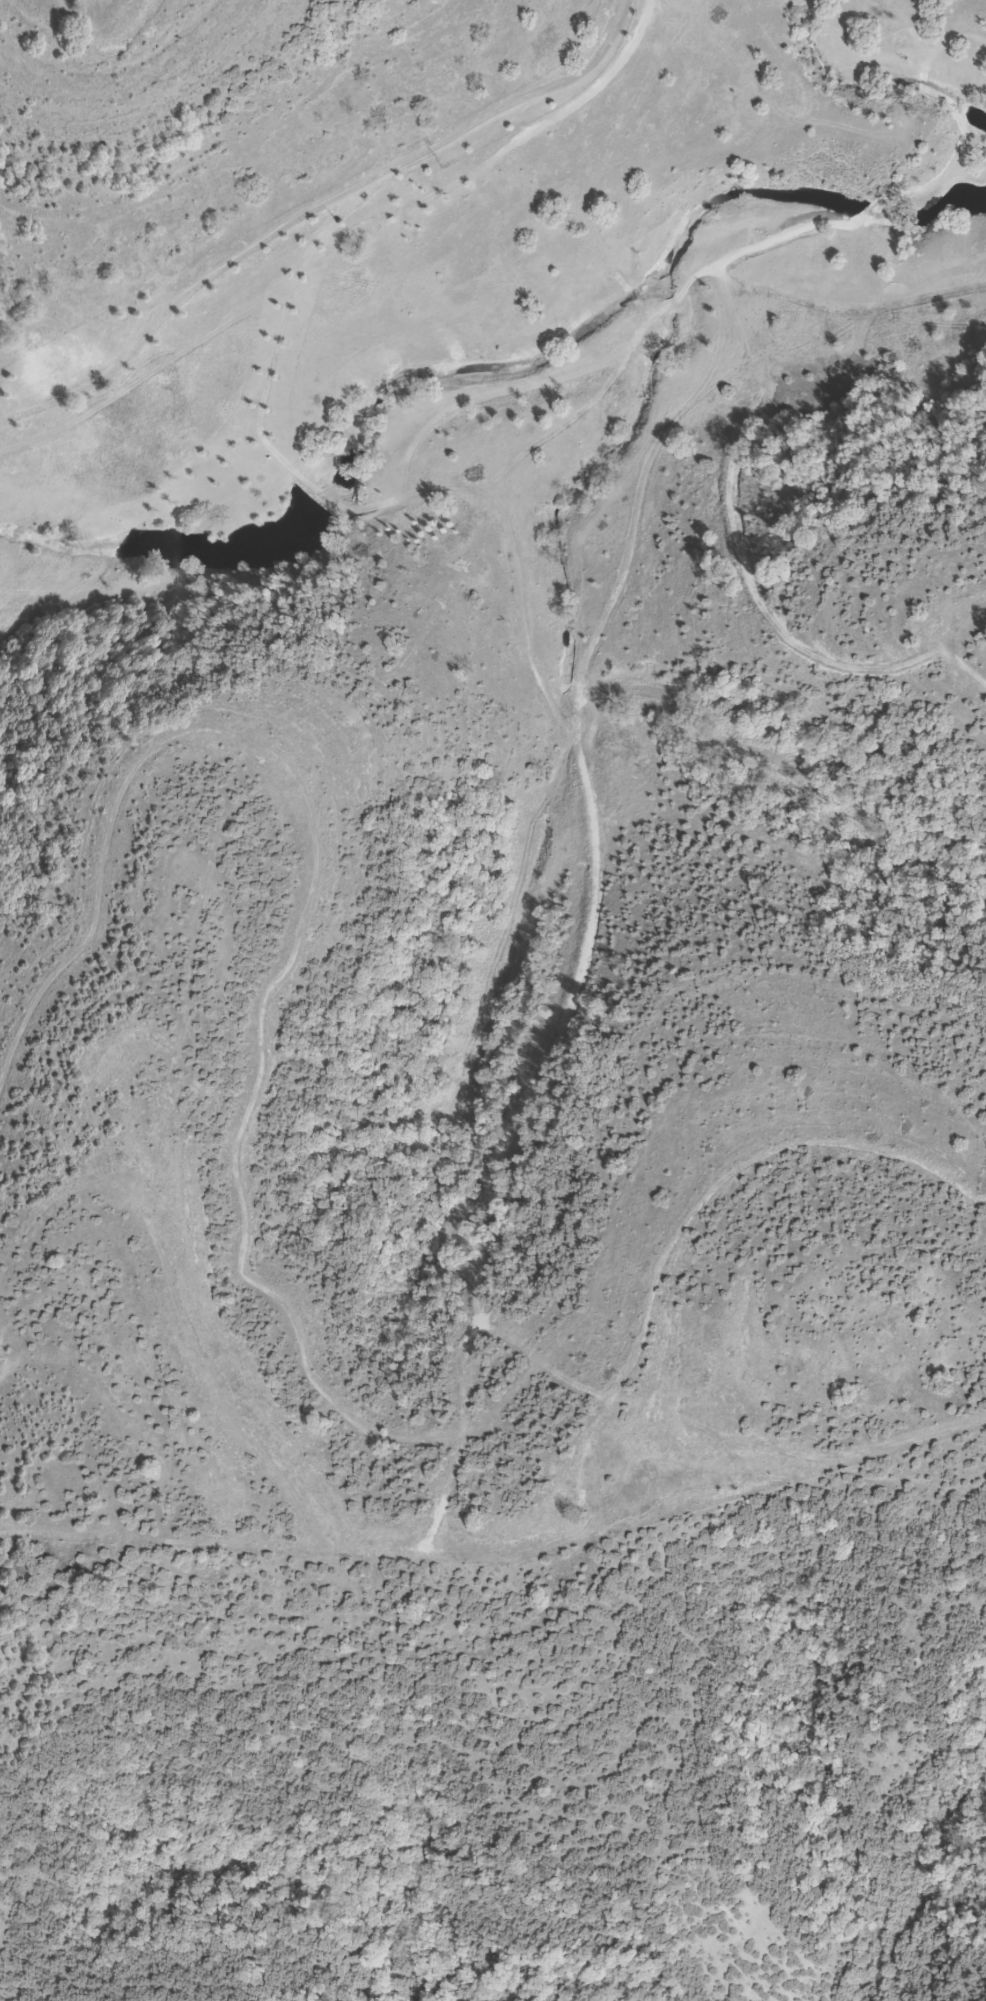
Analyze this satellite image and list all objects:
building: (553, 52)
road: (320, 209)

